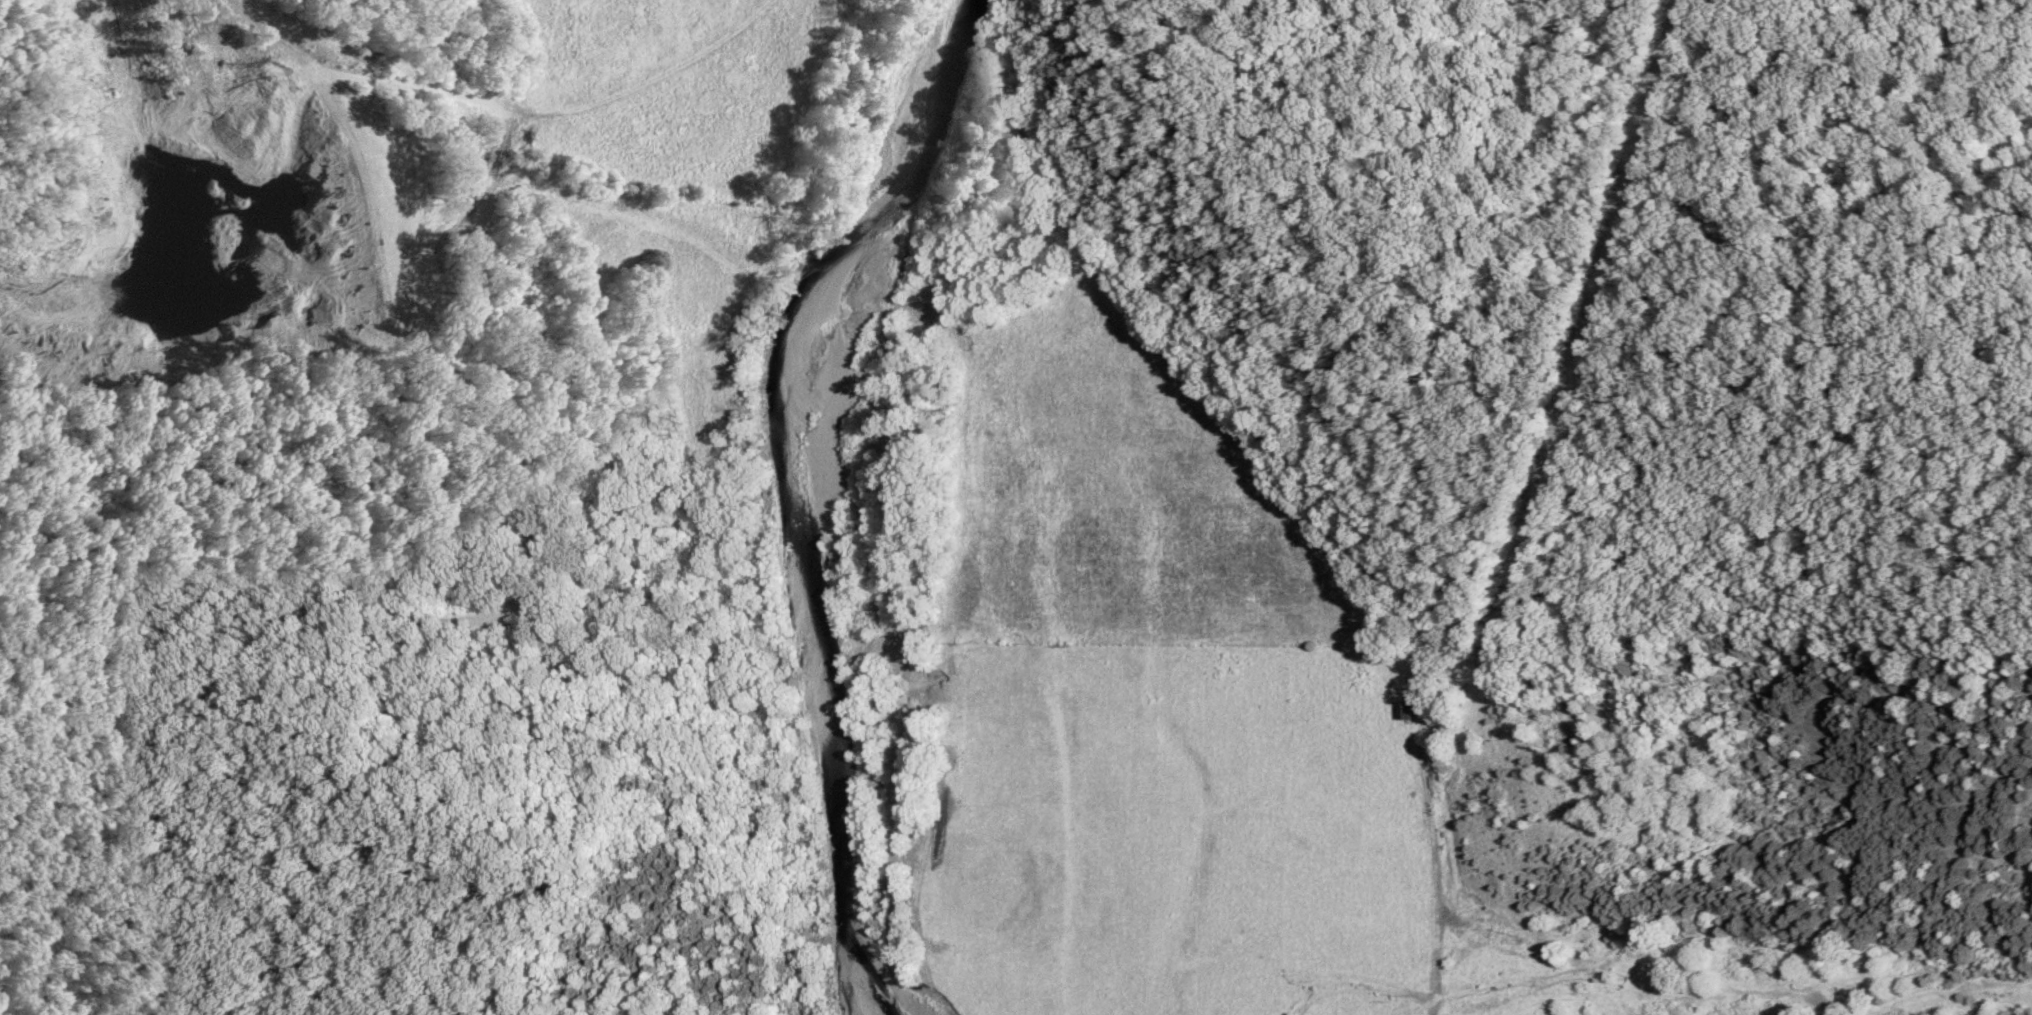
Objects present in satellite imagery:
road: (500, 106)
road: (965, 479)
building: (1404, 713)
road: (1436, 862)

